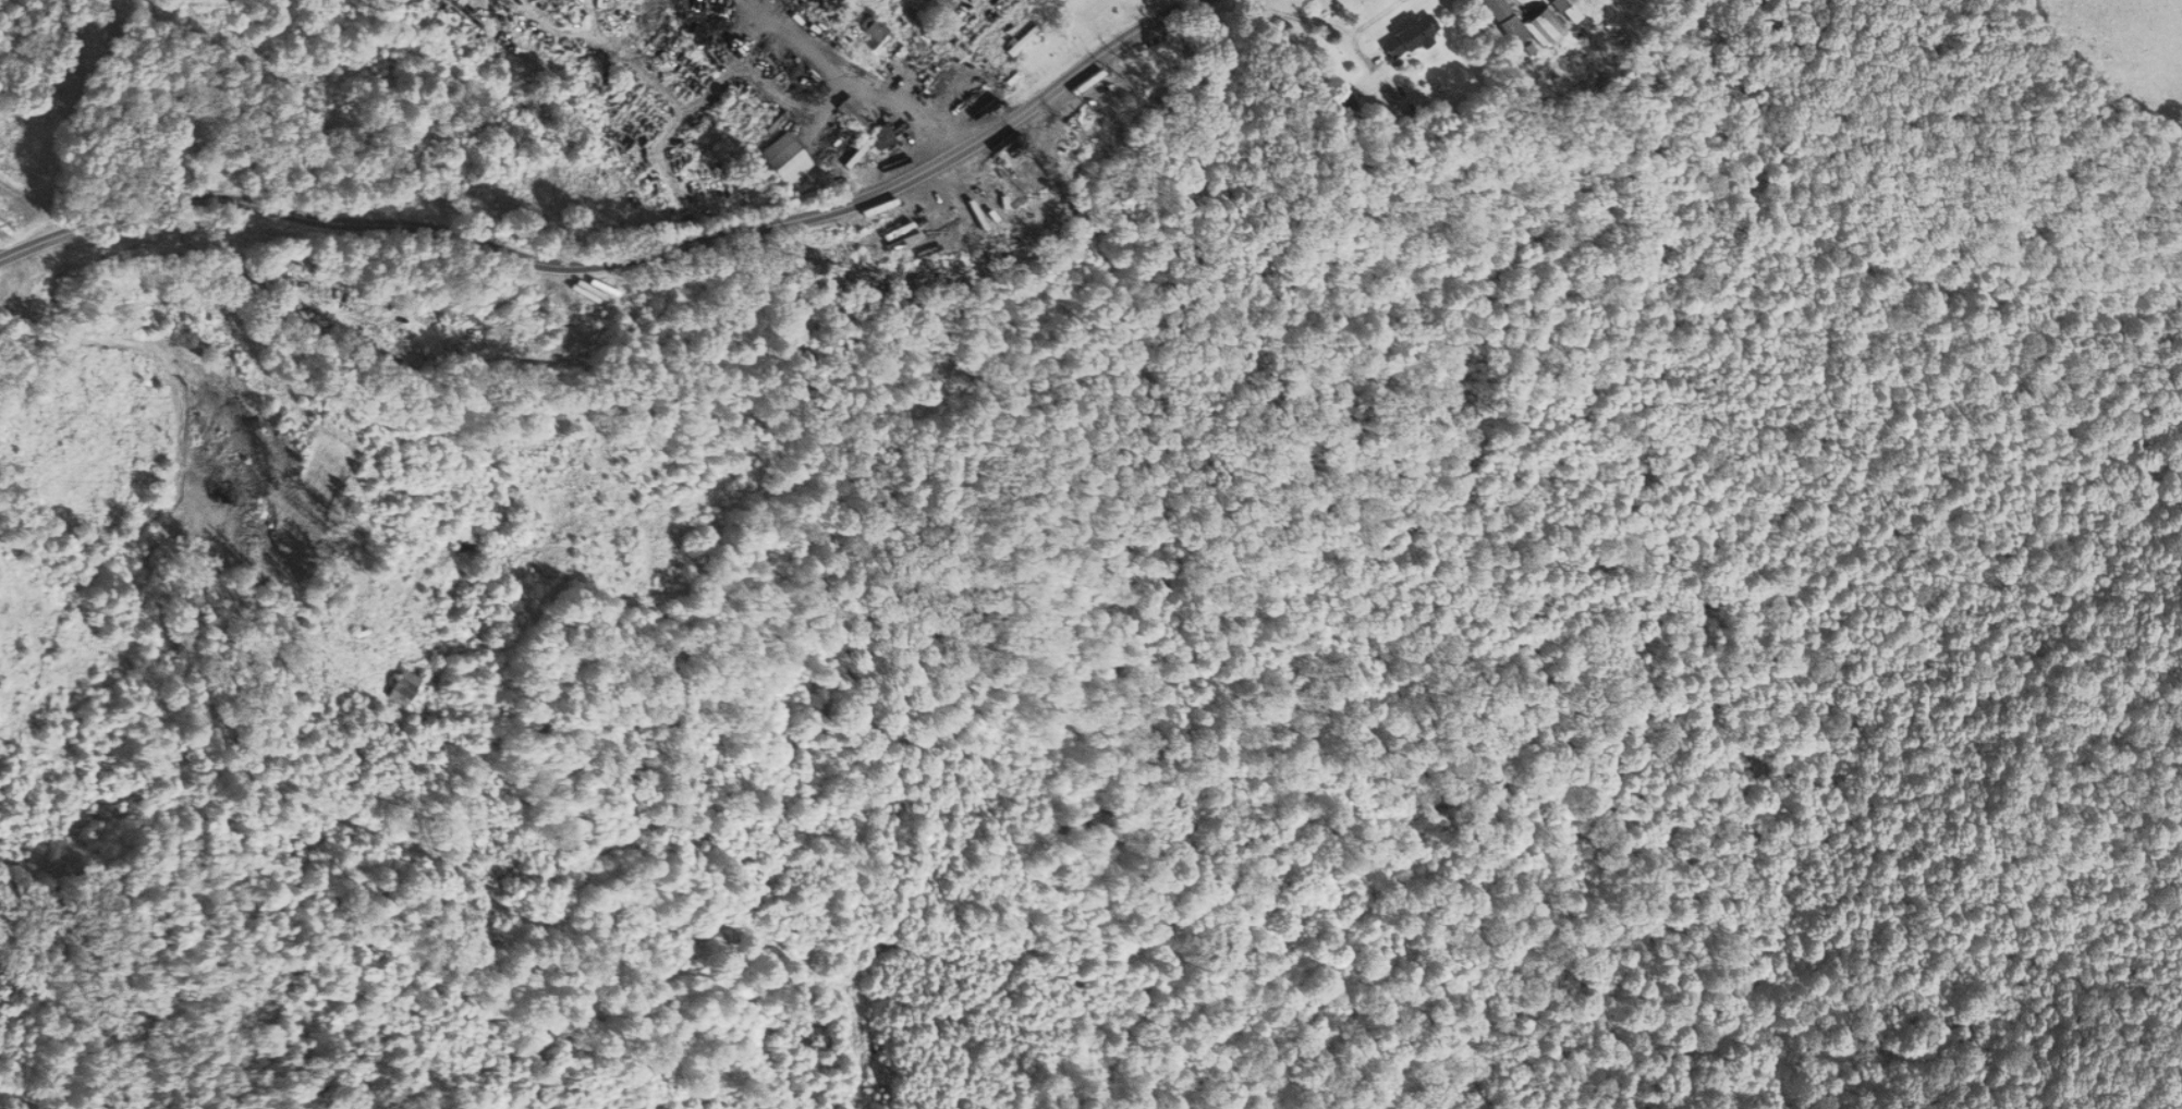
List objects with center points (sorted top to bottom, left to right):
building: (1511, 0)
building: (1557, 4)
building: (1502, 22)
building: (1545, 27)
building: (871, 32)
building: (1407, 37)
road: (848, 74)
building: (865, 125)
building: (784, 158)
building: (880, 166)
road: (619, 257)
road: (169, 349)
building: (404, 686)

